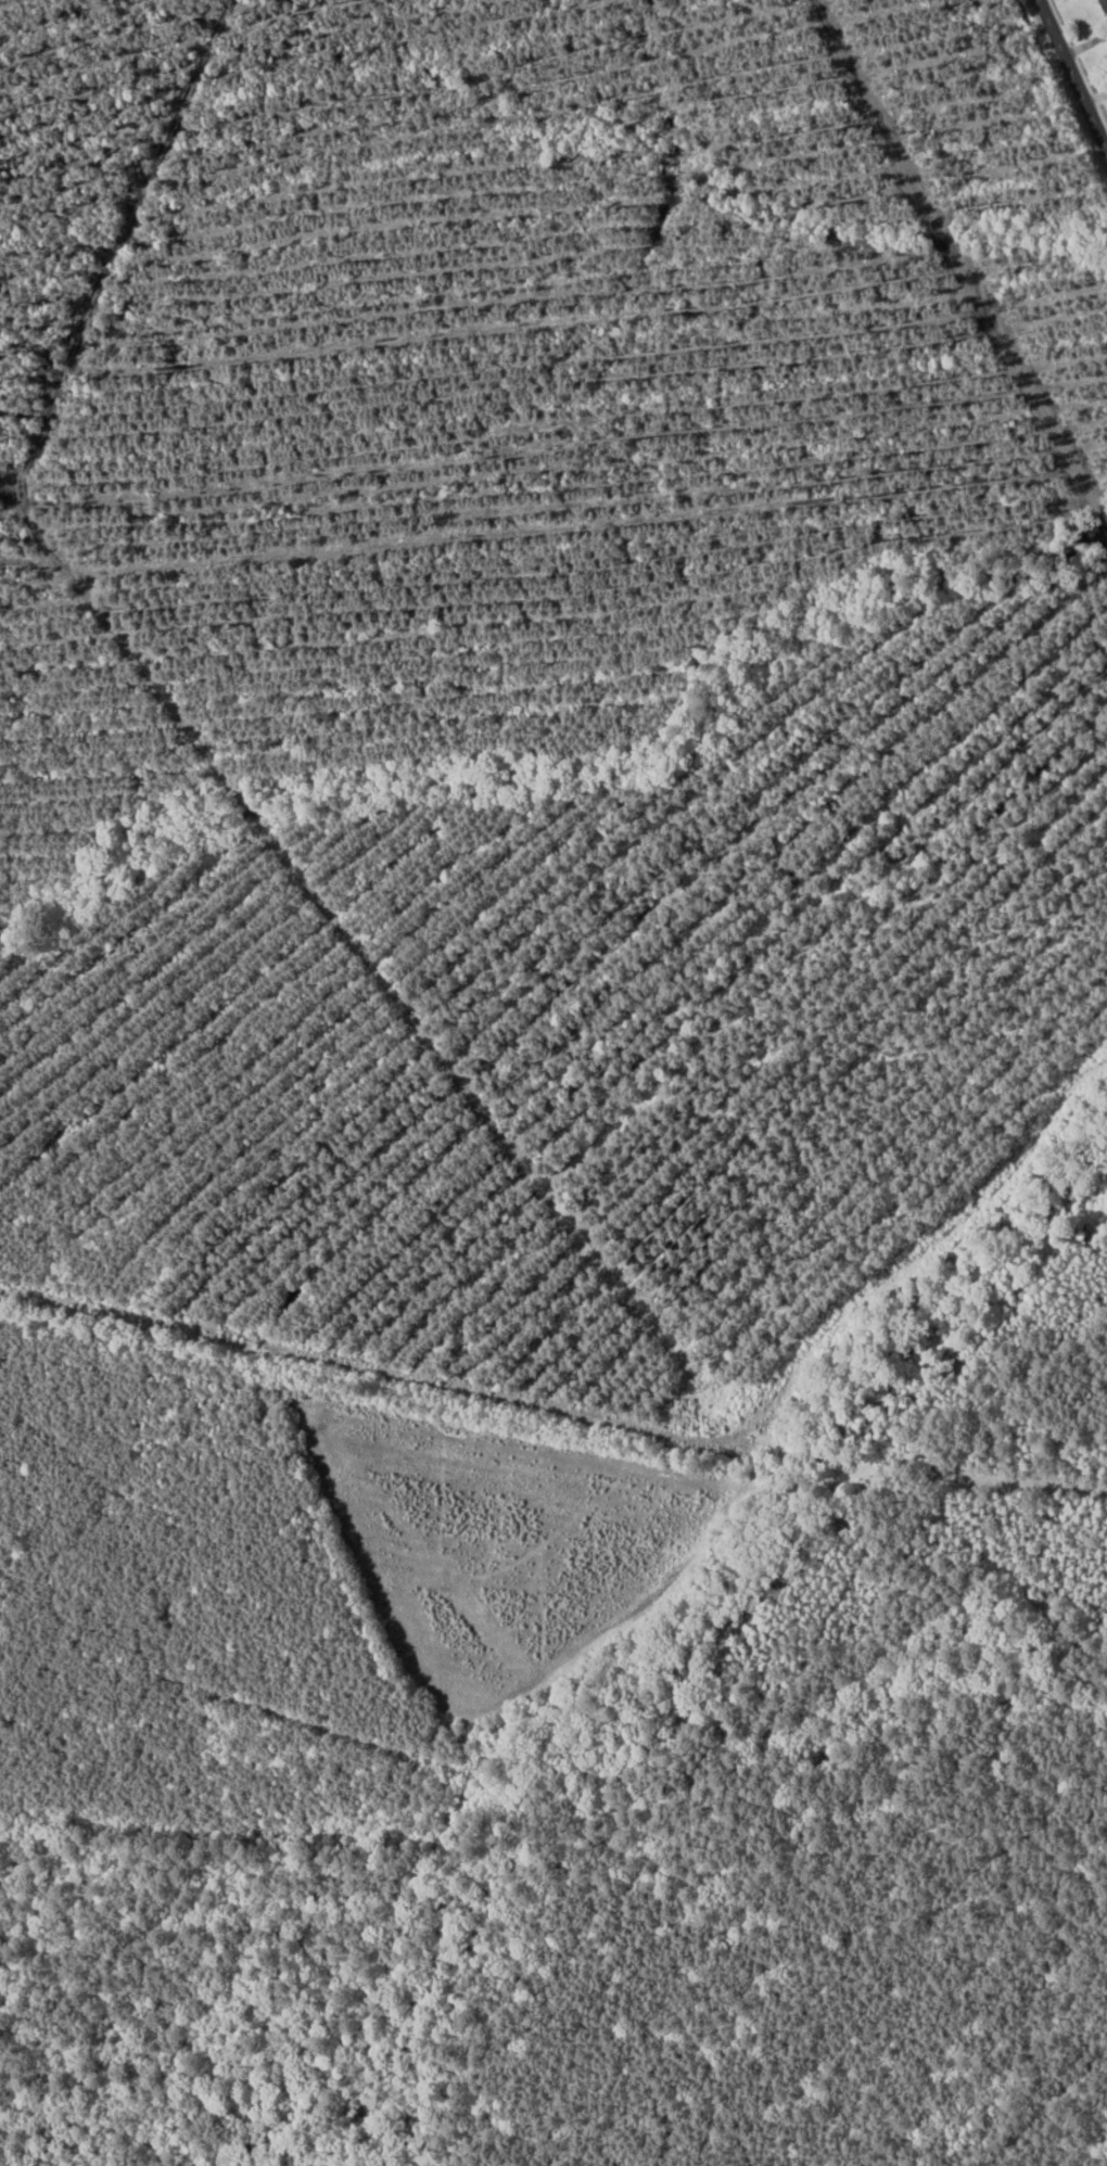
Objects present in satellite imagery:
building: (1102, 5)
road: (1072, 76)
road: (548, 1394)

